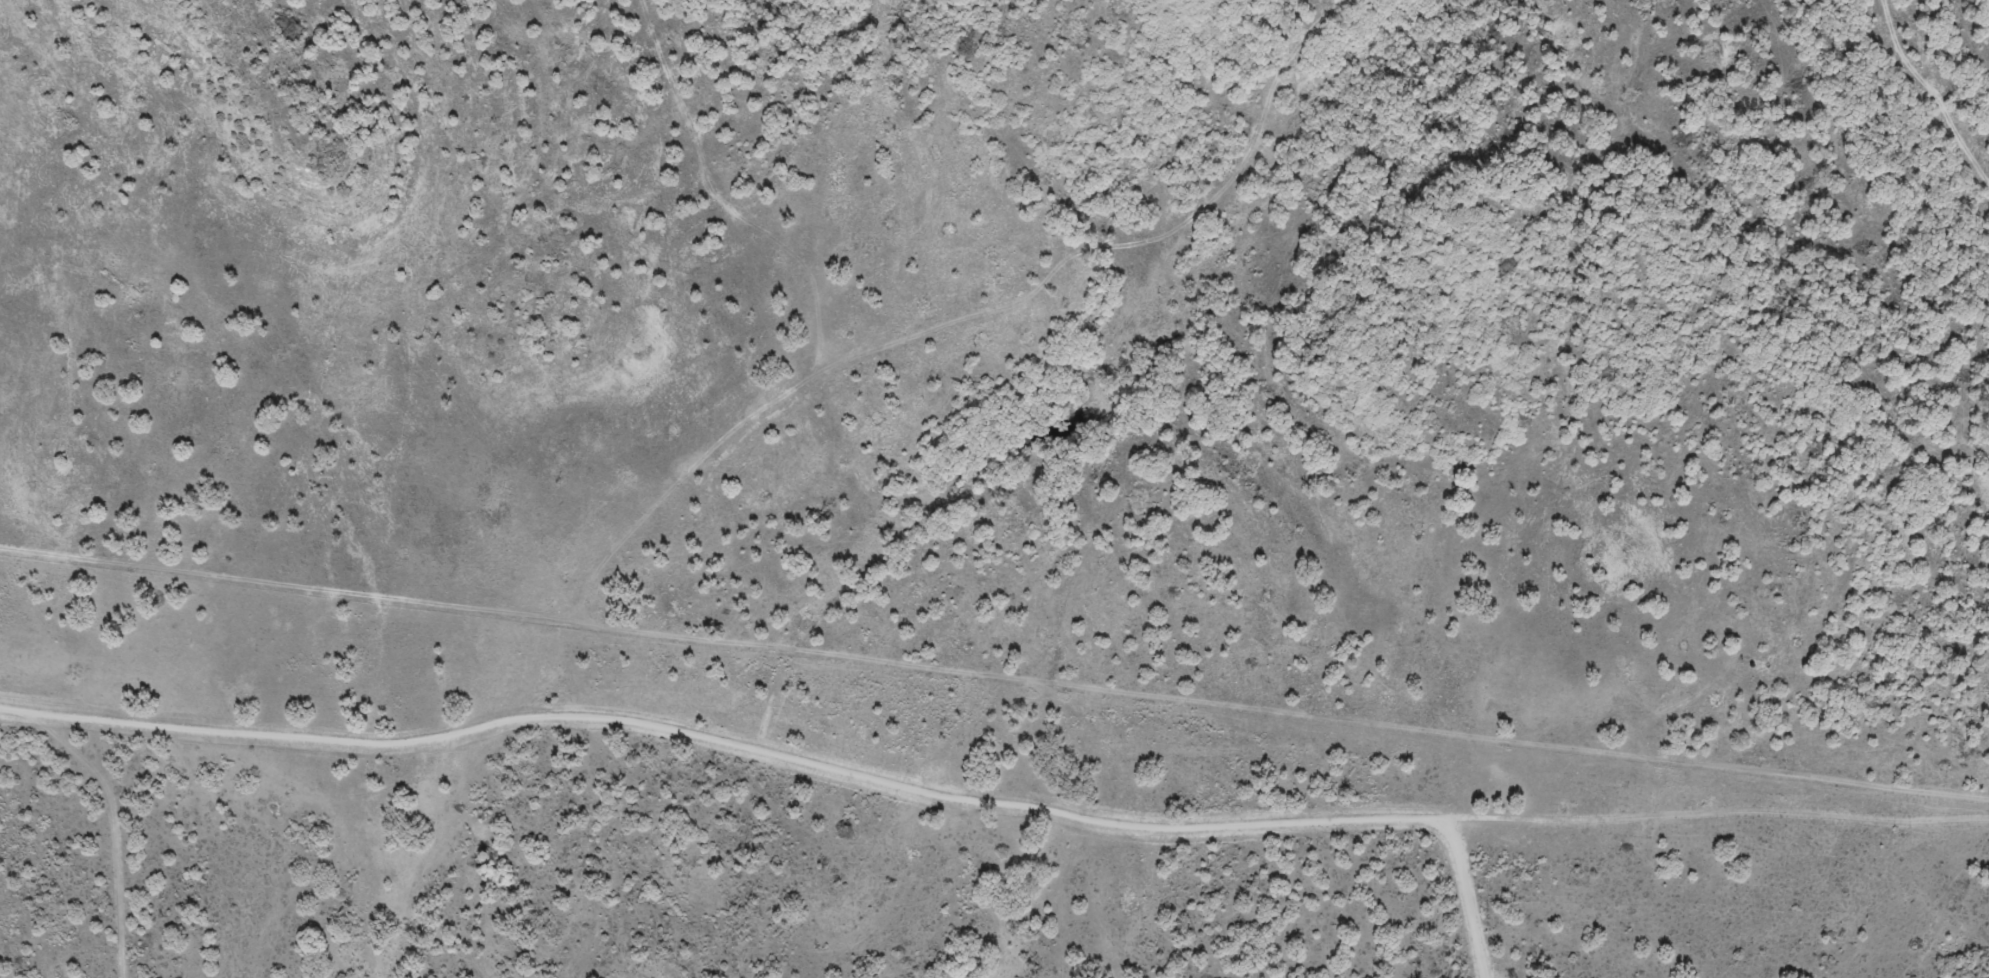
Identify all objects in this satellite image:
road: (203, 788)
road: (137, 874)

